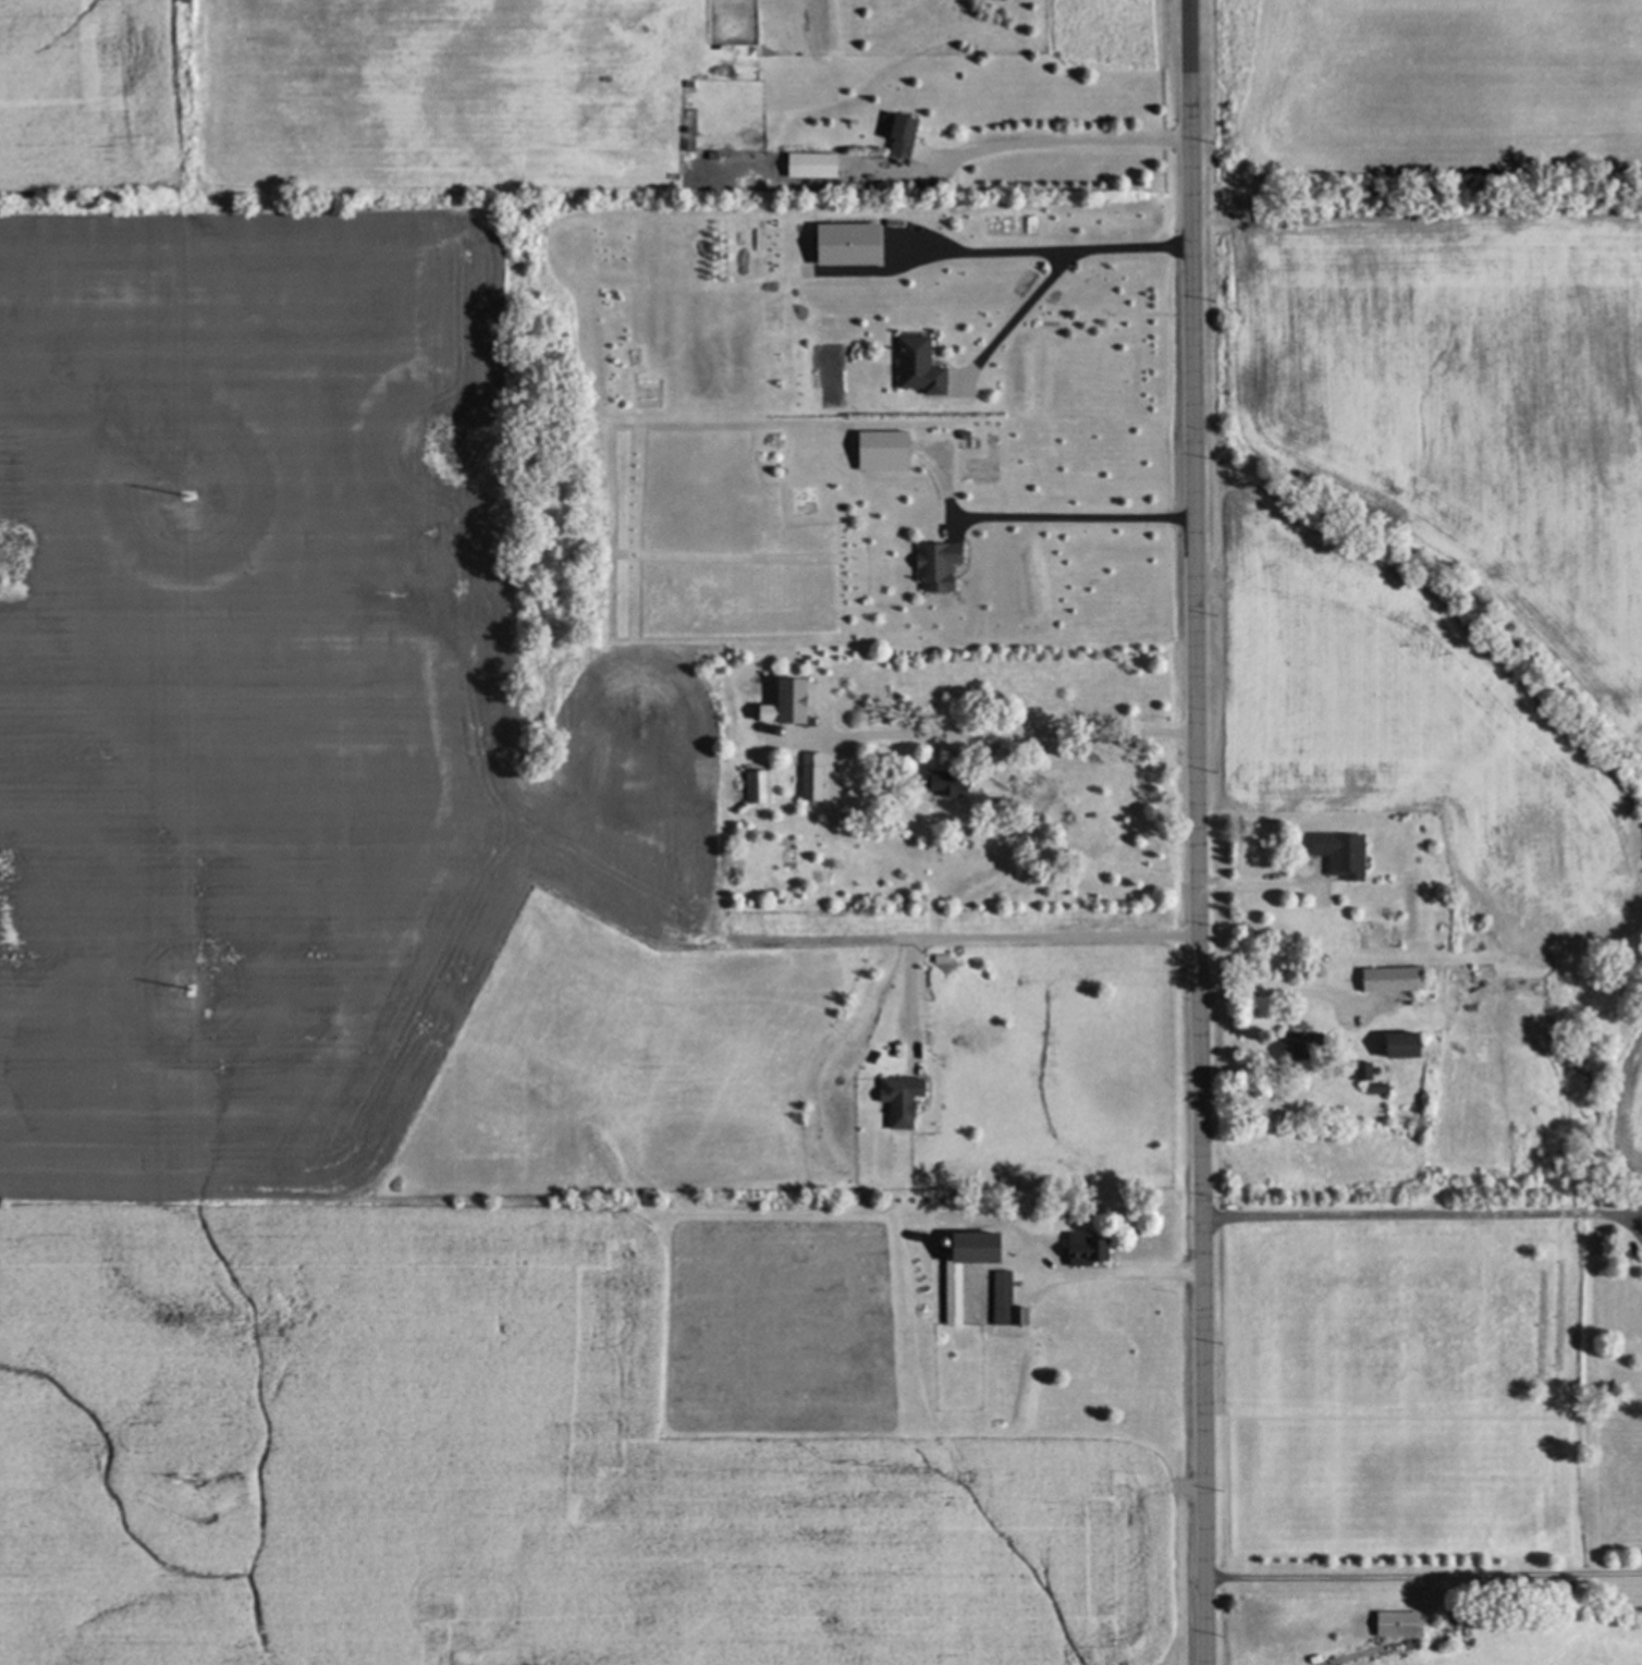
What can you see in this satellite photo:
building: (896, 134)
road: (1049, 143)
building: (807, 164)
building: (841, 244)
road: (990, 252)
road: (1053, 270)
building: (912, 366)
building: (877, 450)
road: (1075, 518)
building: (932, 564)
building: (780, 703)
road: (1015, 733)
building: (808, 778)
building: (935, 785)
building: (758, 786)
road: (1192, 832)
building: (1335, 854)
road: (1253, 887)
road: (1001, 938)
building: (1387, 979)
road: (1282, 991)
building: (1393, 1045)
building: (1361, 1072)
building: (895, 1100)
road: (1627, 1213)
road: (1422, 1215)
building: (1078, 1249)
road: (1116, 1274)
building: (946, 1295)
building: (1002, 1303)
road: (1420, 1579)
building: (1393, 1625)

